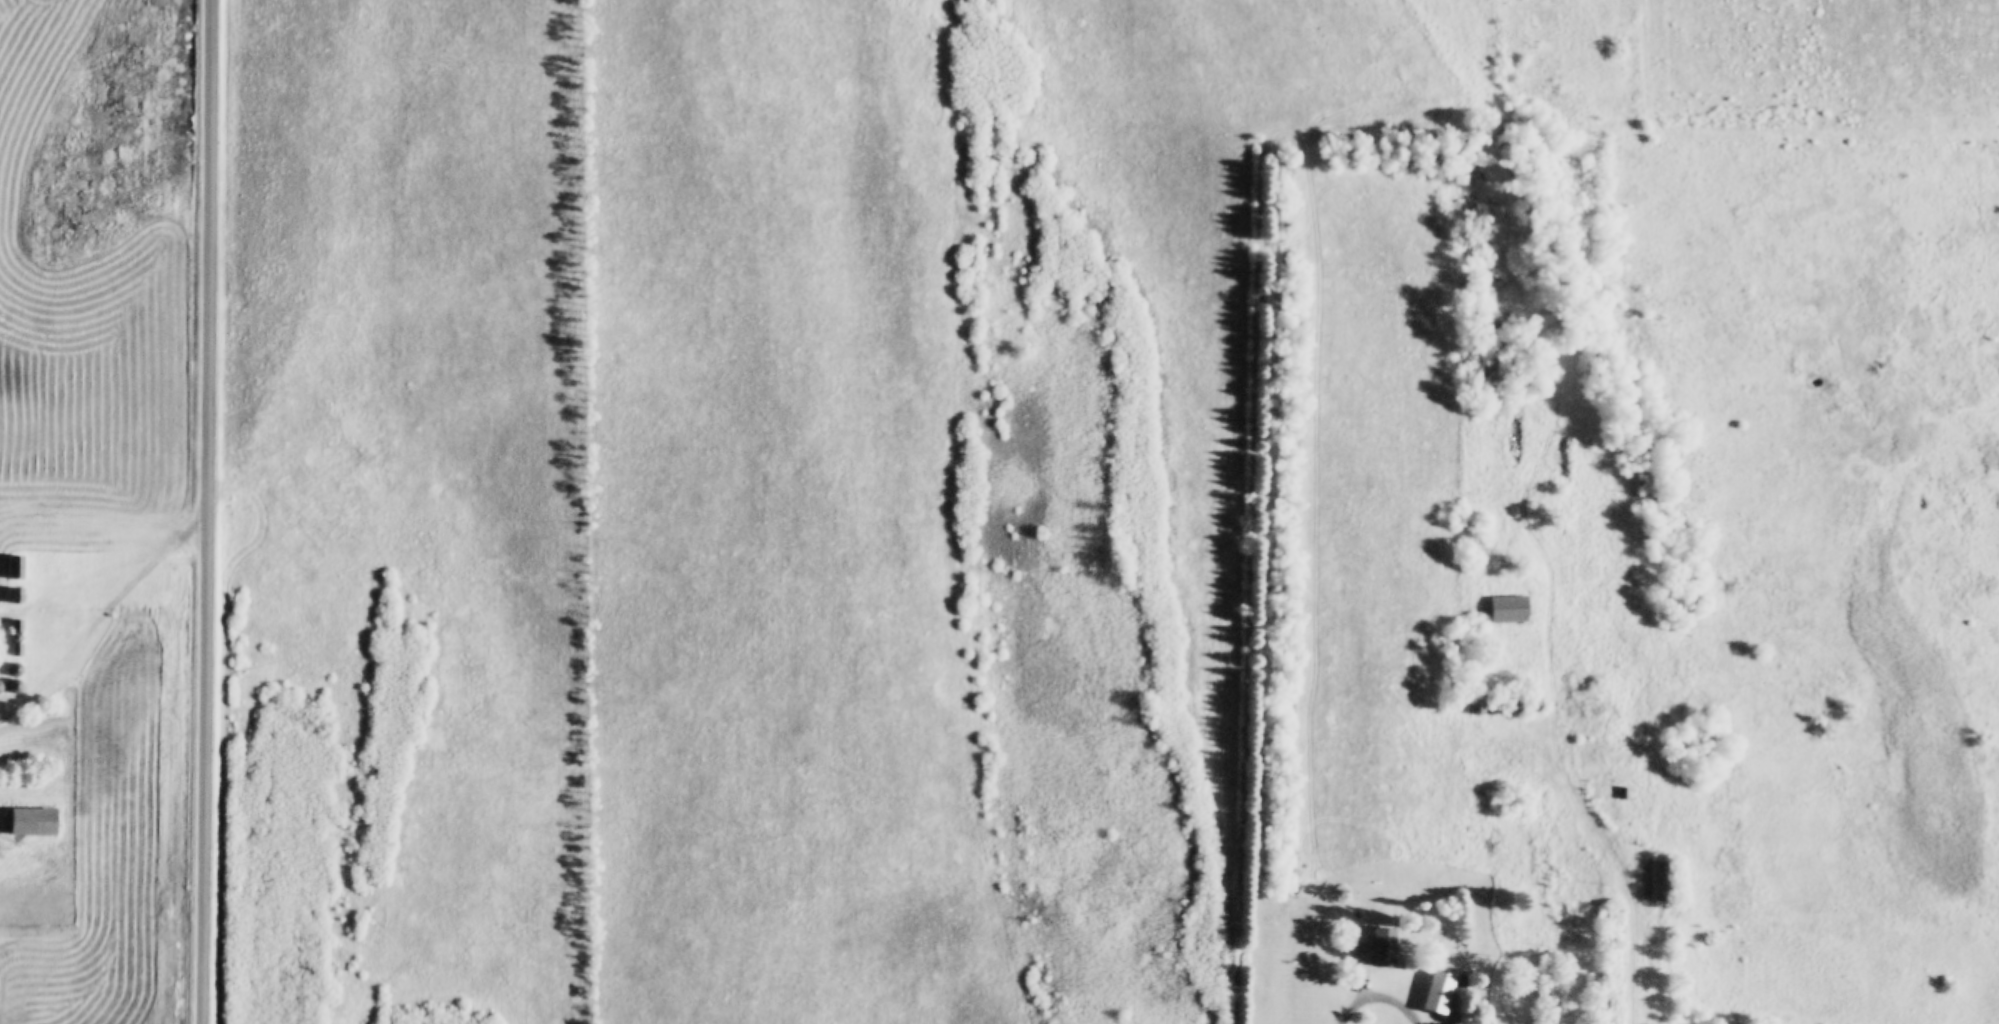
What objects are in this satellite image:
road: (213, 512)
building: (13, 568)
building: (14, 597)
building: (1507, 609)
road: (106, 613)
building: (15, 628)
building: (15, 651)
building: (11, 670)
building: (11, 688)
building: (1510, 706)
building: (1475, 710)
building: (30, 823)
road: (1629, 877)
building: (1656, 882)
building: (1372, 954)
road: (1384, 992)

